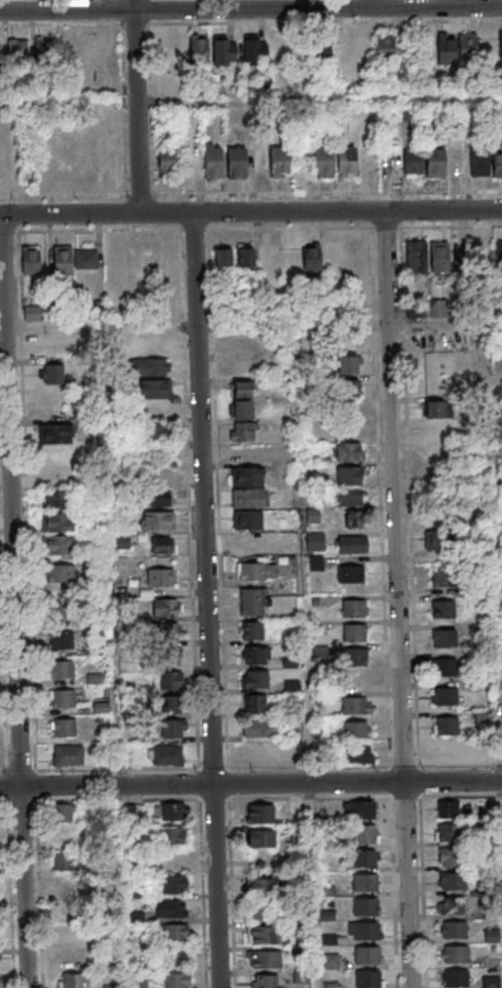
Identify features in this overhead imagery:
road: (251, 9)
building: (500, 45)
building: (364, 46)
building: (469, 48)
building: (45, 49)
building: (198, 49)
building: (324, 49)
building: (386, 49)
building: (224, 50)
building: (255, 50)
building: (17, 51)
building: (448, 51)
road: (251, 101)
road: (140, 106)
building: (167, 162)
building: (282, 162)
building: (349, 162)
building: (479, 162)
building: (215, 163)
building: (239, 163)
building: (326, 163)
building: (413, 163)
building: (435, 163)
building: (497, 164)
road: (250, 194)
road: (250, 212)
building: (498, 253)
building: (416, 257)
building: (439, 257)
building: (225, 258)
building: (247, 258)
building: (73, 259)
building: (310, 259)
building: (29, 260)
building: (464, 263)
building: (437, 309)
building: (31, 313)
road: (254, 325)
building: (494, 361)
building: (350, 365)
building: (153, 367)
building: (53, 373)
building: (350, 388)
building: (240, 389)
building: (155, 390)
building: (53, 404)
building: (244, 409)
building: (434, 409)
building: (438, 431)
building: (246, 432)
building: (54, 433)
building: (156, 433)
building: (350, 453)
building: (351, 476)
building: (249, 477)
building: (350, 497)
building: (159, 498)
building: (250, 499)
building: (59, 500)
building: (438, 515)
building: (353, 519)
building: (157, 520)
building: (250, 520)
building: (59, 522)
road: (497, 523)
building: (434, 539)
building: (246, 541)
building: (314, 541)
building: (351, 544)
building: (60, 545)
building: (161, 545)
road: (113, 556)
building: (254, 572)
building: (62, 573)
building: (352, 575)
building: (160, 577)
building: (445, 579)
road: (400, 599)
road: (210, 600)
road: (17, 601)
building: (255, 603)
building: (164, 608)
building: (356, 609)
building: (446, 610)
building: (62, 612)
building: (165, 631)
building: (255, 631)
building: (356, 634)
building: (447, 639)
building: (64, 642)
building: (168, 656)
building: (258, 656)
building: (358, 658)
building: (447, 668)
building: (65, 670)
building: (95, 678)
building: (169, 680)
building: (259, 680)
building: (448, 698)
building: (66, 699)
building: (172, 704)
building: (256, 705)
building: (358, 707)
building: (483, 716)
building: (449, 726)
building: (67, 728)
building: (172, 729)
building: (259, 729)
building: (355, 729)
building: (452, 749)
building: (258, 753)
building: (295, 754)
building: (484, 754)
building: (168, 755)
building: (71, 756)
building: (358, 756)
road: (251, 769)
road: (251, 784)
building: (297, 806)
building: (450, 810)
building: (365, 811)
building: (174, 812)
building: (63, 814)
building: (262, 815)
building: (451, 834)
building: (365, 835)
building: (172, 837)
building: (263, 840)
building: (456, 858)
building: (366, 859)
building: (62, 861)
building: (457, 883)
building: (367, 884)
building: (177, 885)
building: (263, 888)
building: (454, 907)
building: (368, 908)
building: (172, 910)
building: (263, 912)
building: (457, 931)
building: (368, 932)
building: (174, 934)
building: (265, 937)
building: (368, 956)
building: (460, 956)
building: (178, 958)
building: (66, 959)
building: (269, 961)
building: (459, 979)
building: (77, 980)
building: (369, 980)
building: (181, 981)
building: (268, 982)
building: (491, 982)
building: (138, 984)
building: (110, 986)

